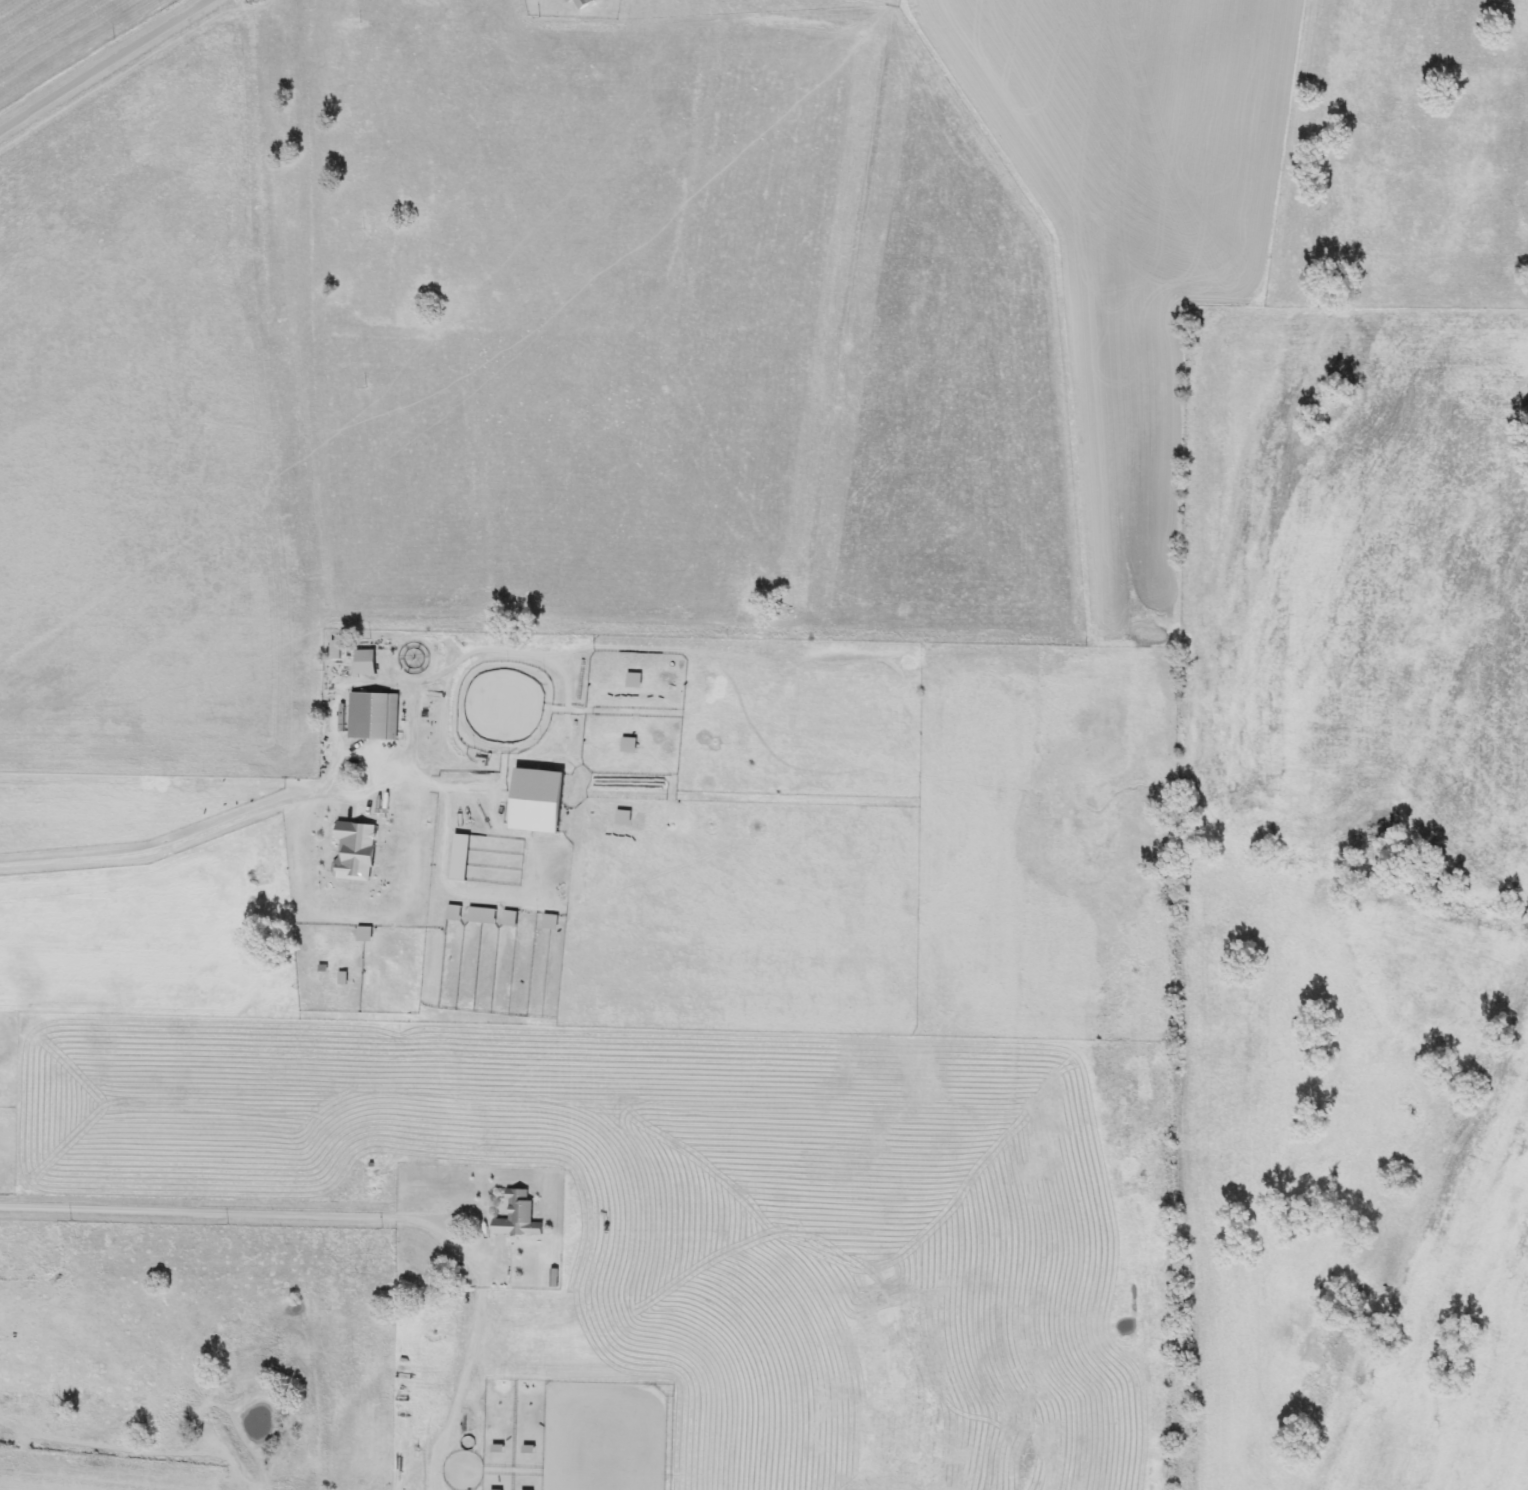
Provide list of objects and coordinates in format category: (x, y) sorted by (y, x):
road: (105, 67)
building: (372, 716)
road: (275, 805)
building: (358, 852)
road: (262, 1213)
building: (520, 1217)

